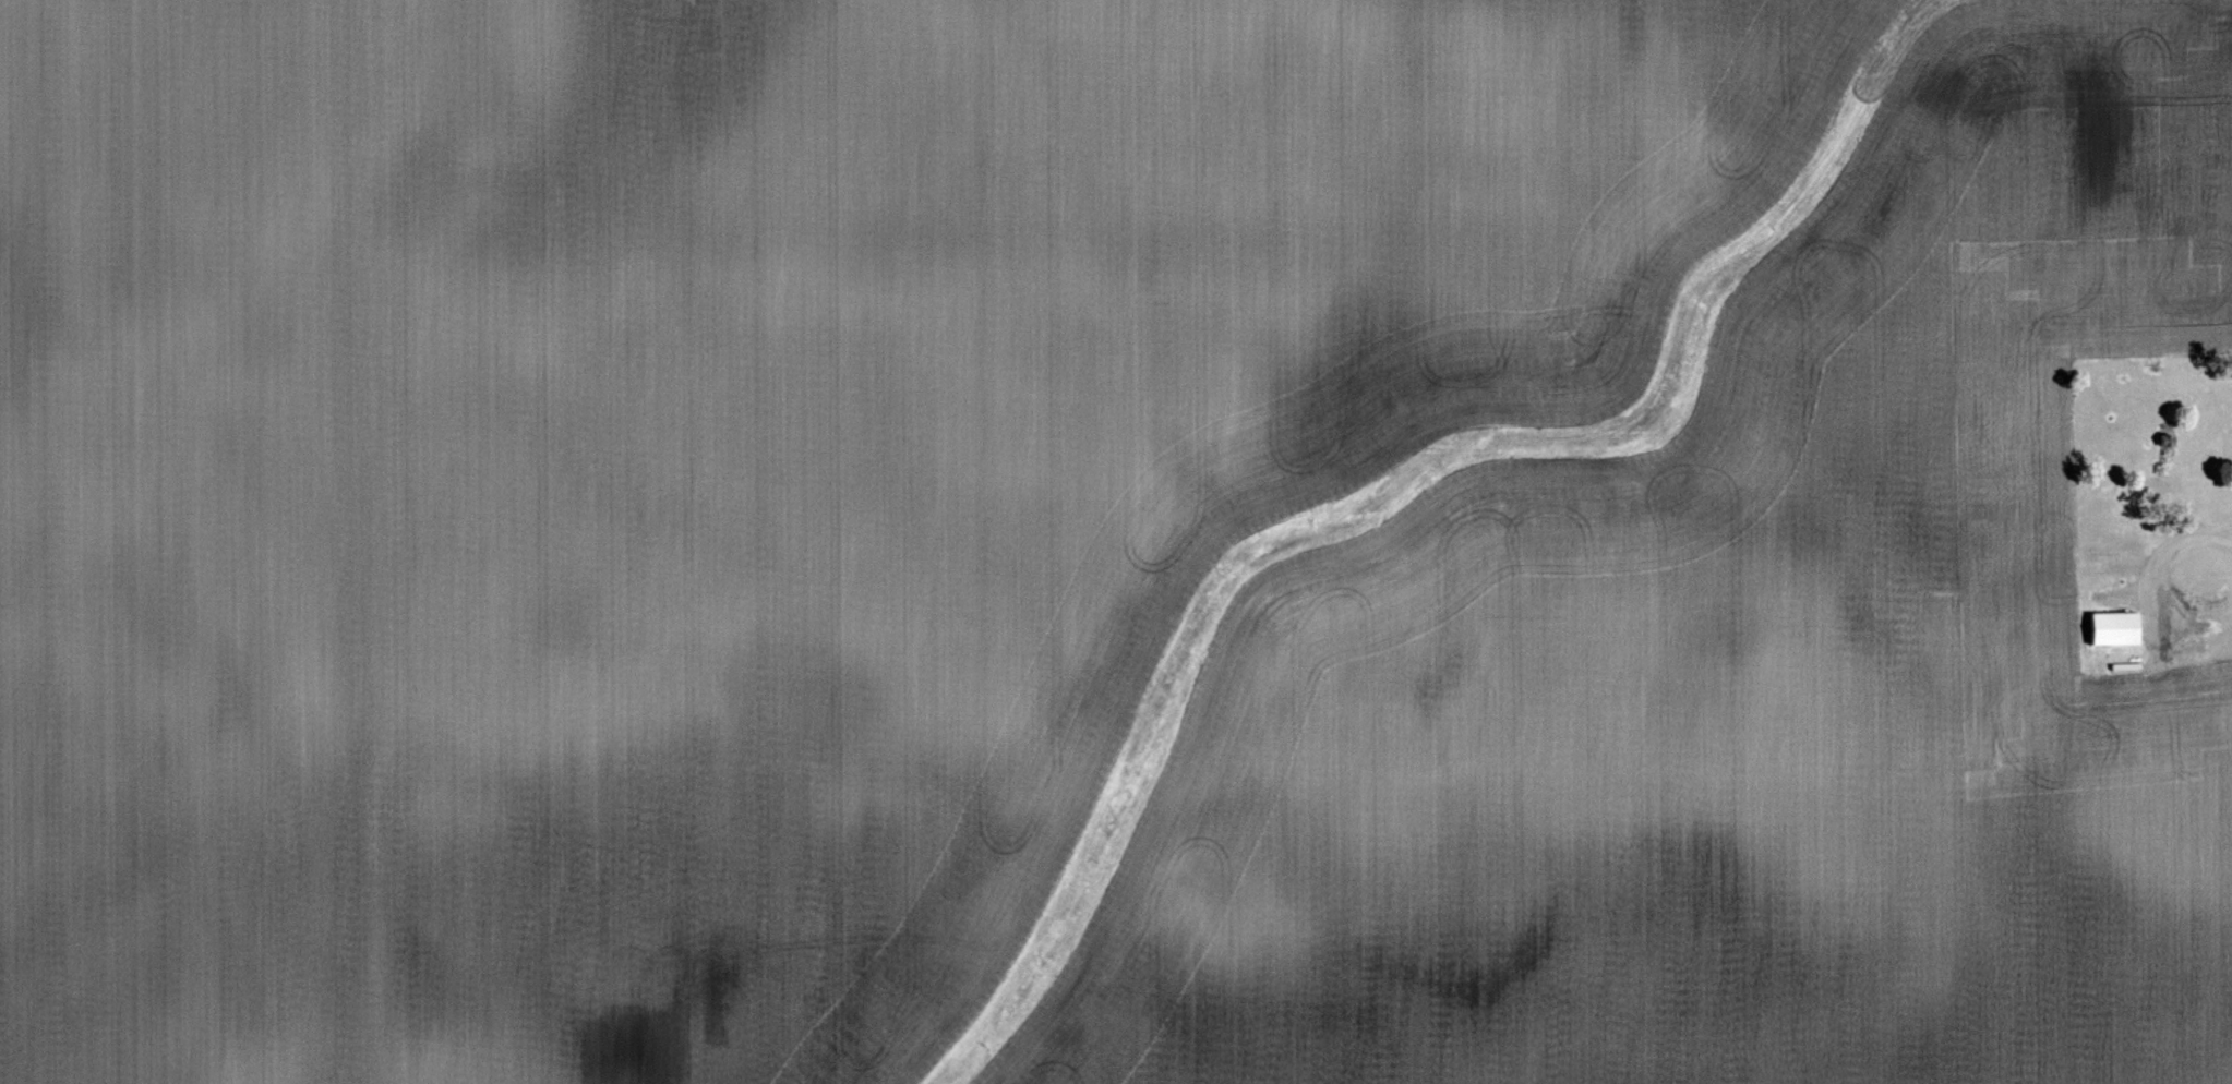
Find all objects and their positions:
road: (2219, 529)
road: (2177, 544)

